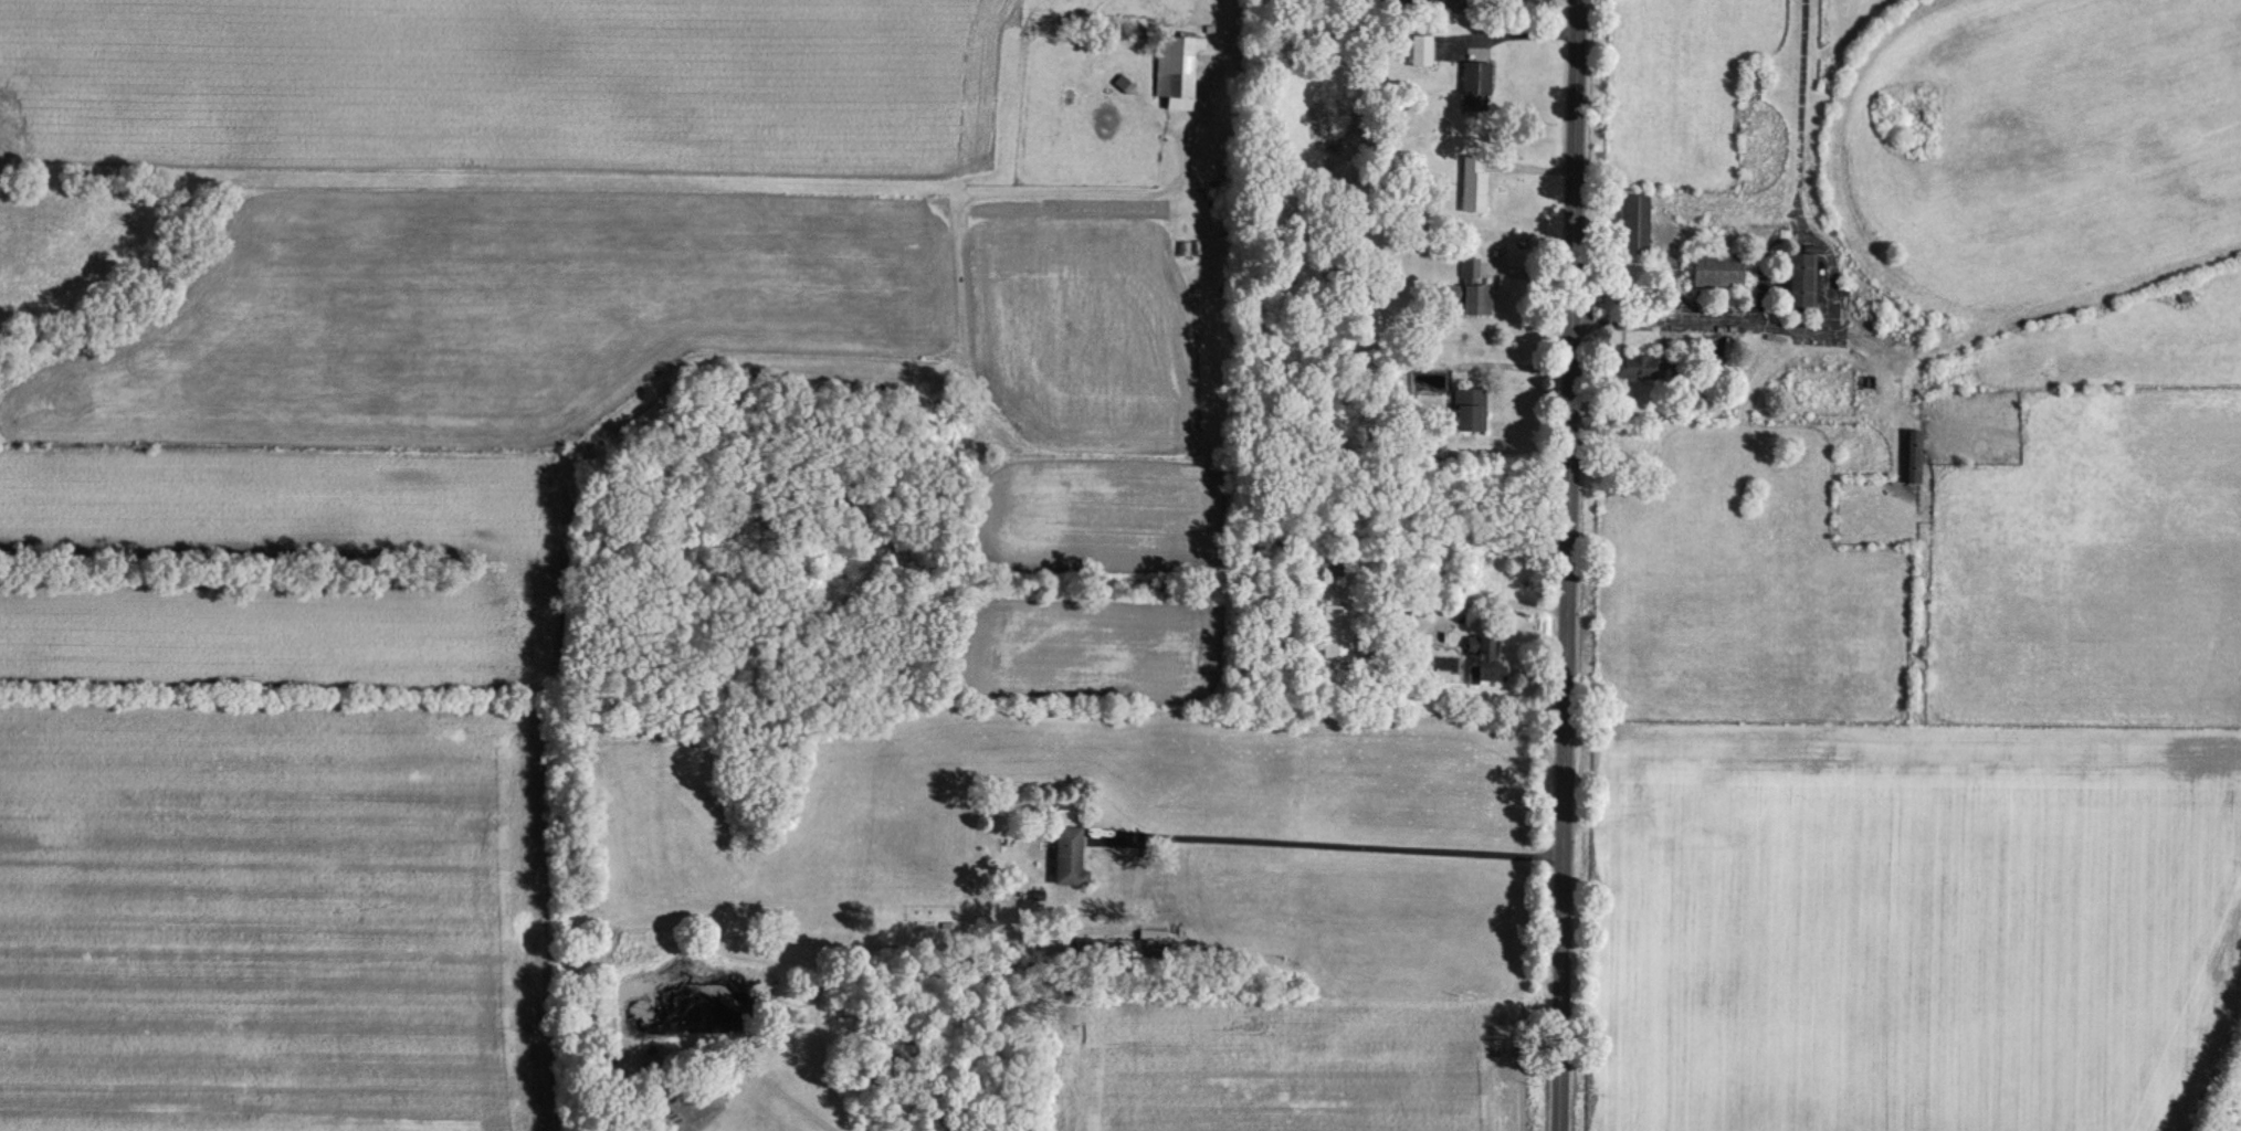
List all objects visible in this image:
road: (1518, 35)
building: (1420, 47)
road: (1220, 64)
building: (1176, 67)
building: (1475, 84)
building: (1473, 181)
building: (1635, 223)
building: (1182, 246)
building: (1717, 268)
building: (1796, 277)
building: (1387, 279)
building: (1469, 287)
building: (1637, 366)
building: (1681, 380)
building: (1469, 408)
building: (1908, 454)
building: (1322, 564)
road: (1568, 564)
building: (1335, 631)
building: (1484, 657)
road: (1330, 846)
building: (1067, 855)

